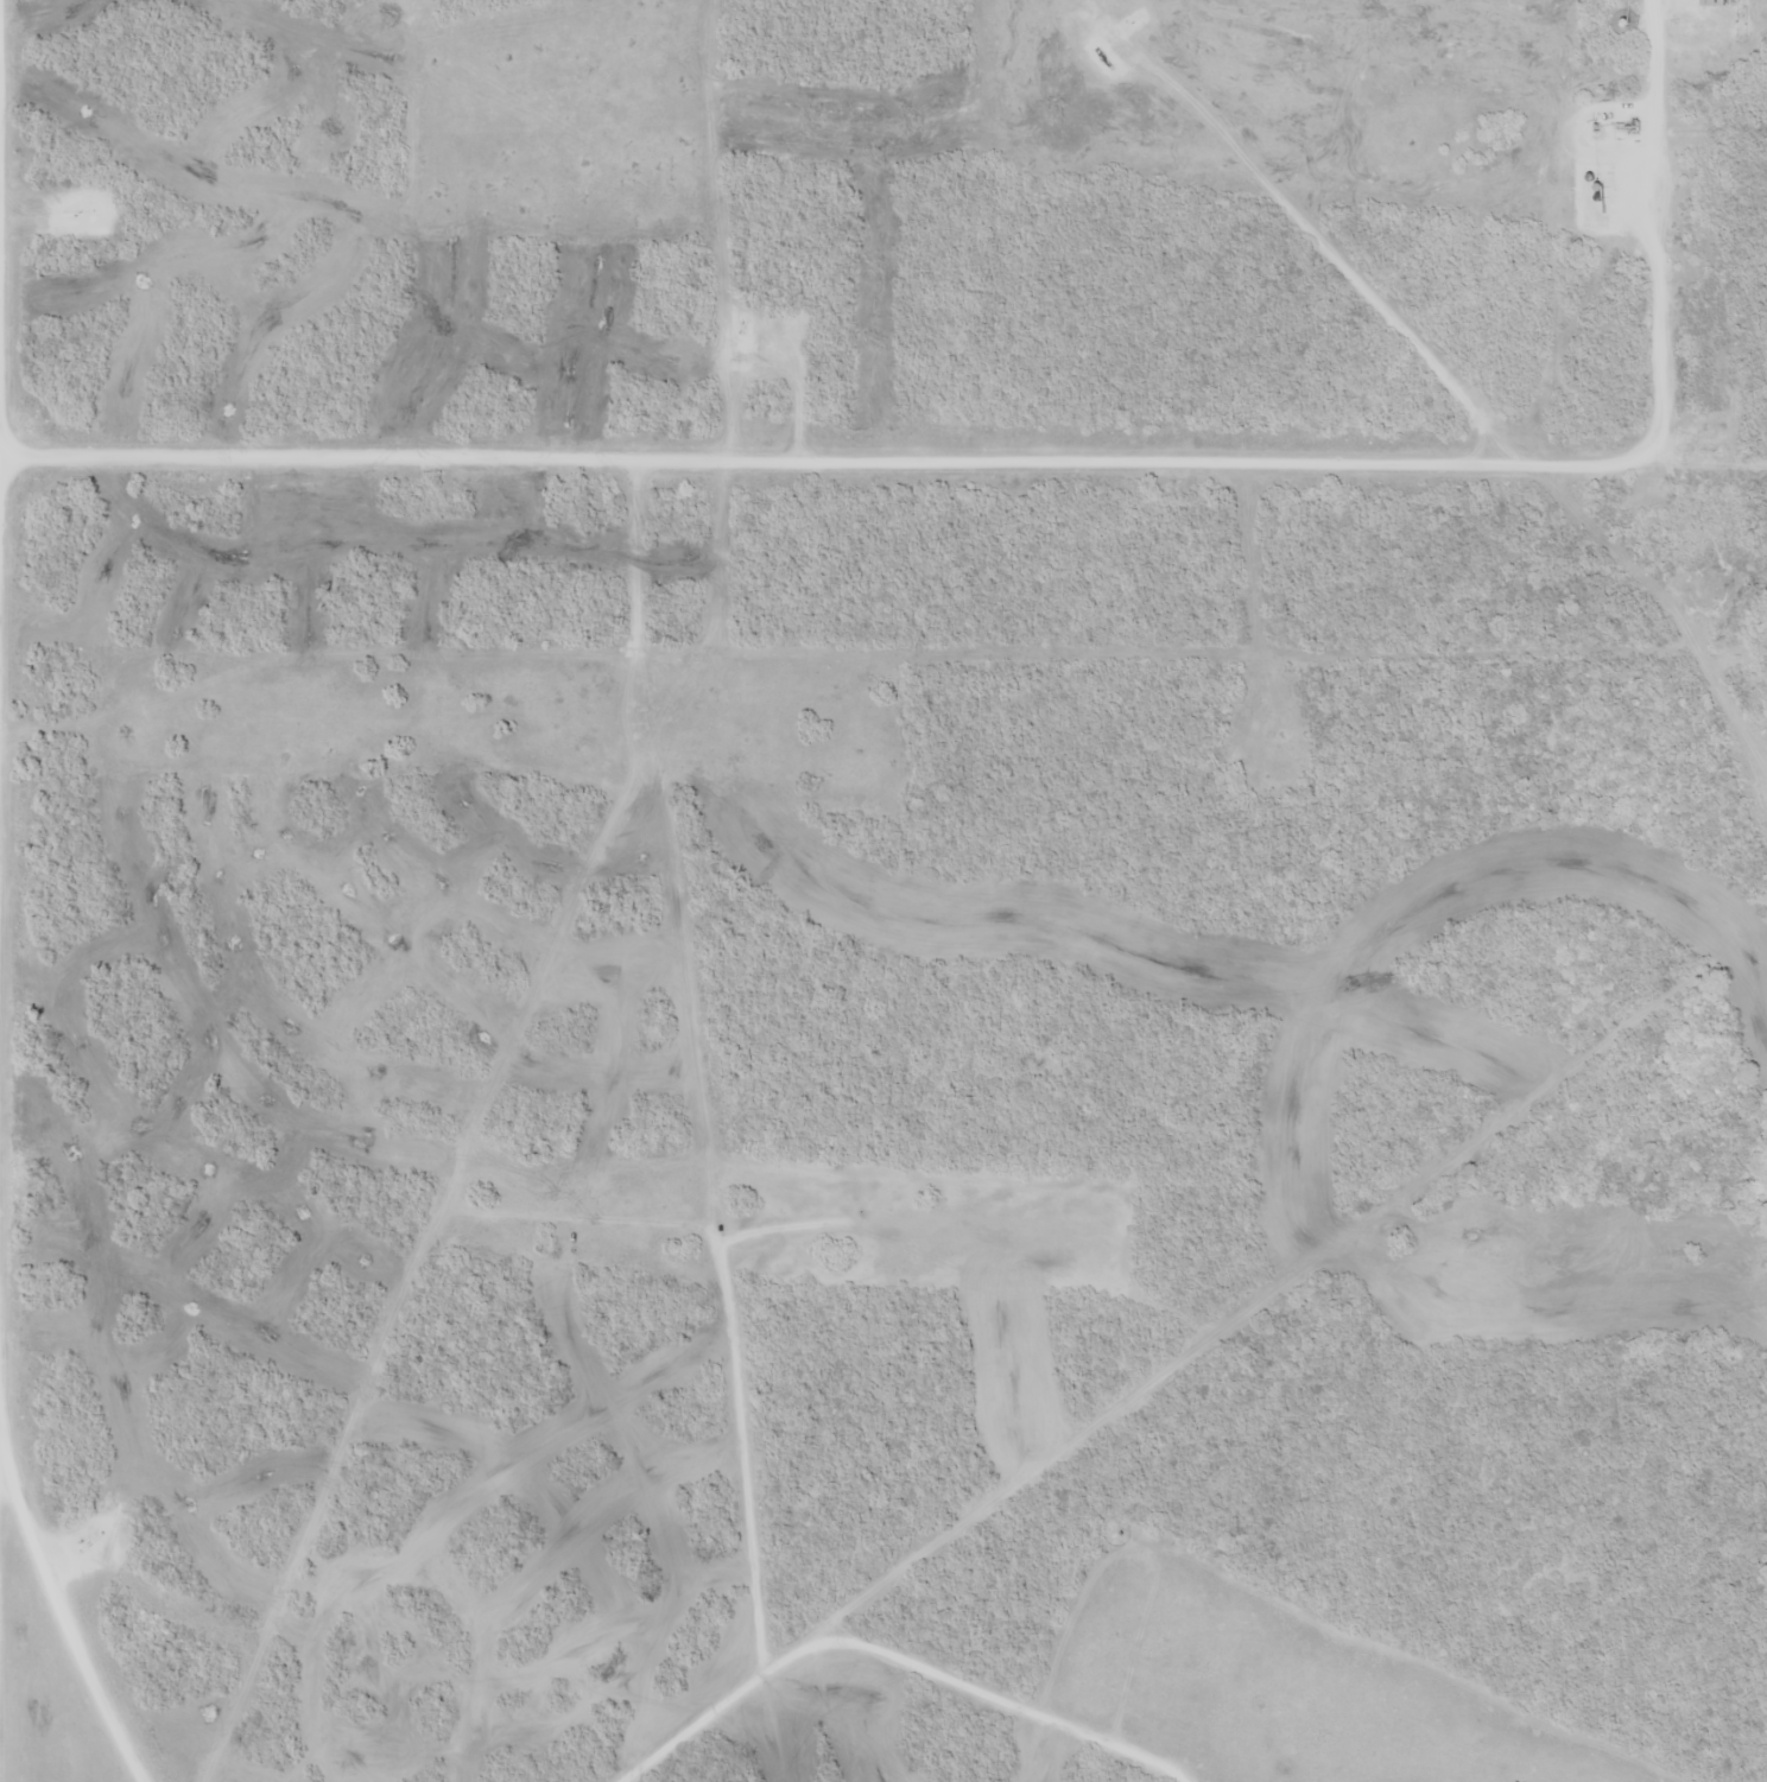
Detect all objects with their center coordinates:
building: (1711, 2)

